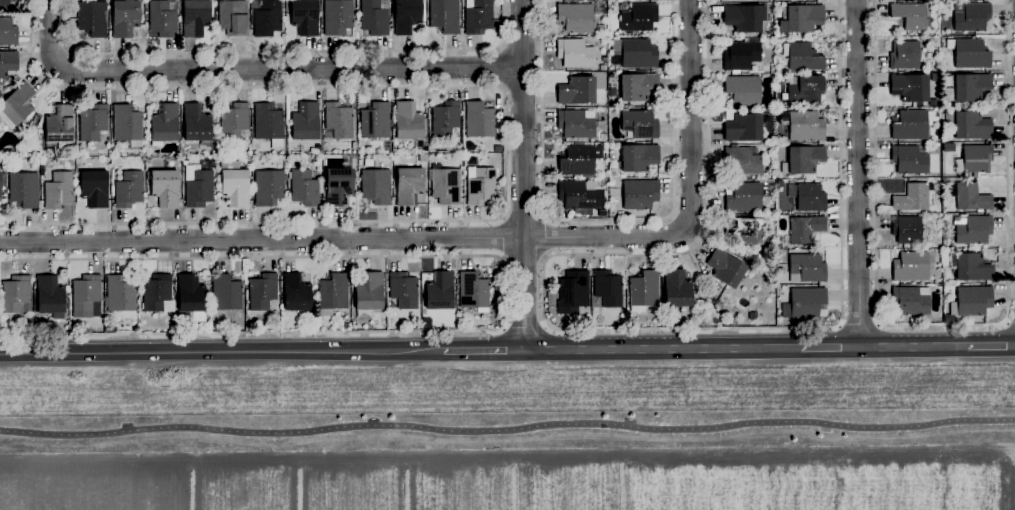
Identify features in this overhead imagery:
building: (5, 4)
building: (406, 15)
building: (444, 15)
building: (195, 16)
building: (233, 16)
building: (305, 16)
building: (337, 16)
building: (374, 16)
building: (478, 16)
building: (637, 16)
building: (912, 16)
building: (970, 16)
building: (125, 17)
building: (163, 17)
building: (576, 17)
building: (744, 17)
building: (93, 18)
building: (267, 18)
building: (801, 18)
building: (600, 28)
building: (8, 31)
building: (776, 34)
road: (502, 47)
road: (69, 51)
road: (284, 51)
building: (969, 52)
building: (575, 53)
building: (638, 53)
building: (904, 54)
building: (741, 55)
building: (802, 56)
road: (63, 58)
building: (7, 63)
road: (504, 67)
road: (257, 68)
building: (637, 86)
building: (910, 86)
road: (502, 87)
building: (967, 87)
building: (743, 89)
building: (804, 89)
building: (576, 90)
building: (16, 105)
building: (601, 113)
building: (445, 118)
building: (339, 119)
building: (479, 119)
building: (234, 120)
building: (375, 120)
building: (408, 120)
building: (305, 121)
building: (93, 122)
building: (196, 123)
building: (576, 123)
building: (600, 123)
building: (640, 123)
building: (59, 124)
building: (127, 124)
building: (164, 124)
building: (269, 124)
building: (909, 125)
building: (971, 125)
building: (805, 126)
building: (743, 127)
road: (504, 133)
building: (603, 136)
building: (73, 147)
building: (638, 157)
building: (975, 158)
building: (579, 159)
building: (803, 159)
building: (909, 159)
building: (744, 161)
road: (859, 173)
road: (523, 175)
building: (234, 182)
building: (411, 182)
building: (445, 184)
building: (480, 184)
building: (0, 185)
building: (338, 185)
building: (165, 186)
building: (268, 186)
building: (376, 186)
building: (95, 187)
building: (304, 187)
building: (199, 188)
building: (24, 189)
building: (129, 189)
building: (58, 190)
building: (640, 193)
building: (580, 195)
road: (692, 196)
building: (808, 196)
building: (970, 196)
building: (743, 197)
building: (912, 197)
road: (524, 216)
road: (608, 218)
building: (804, 229)
building: (908, 229)
building: (973, 229)
building: (745, 230)
road: (502, 236)
road: (546, 237)
road: (262, 239)
road: (525, 258)
building: (911, 266)
building: (972, 267)
building: (726, 268)
building: (806, 268)
building: (607, 287)
building: (644, 288)
building: (675, 288)
building: (403, 289)
building: (473, 290)
building: (156, 291)
building: (262, 291)
building: (371, 291)
building: (440, 291)
building: (573, 291)
building: (226, 292)
building: (296, 292)
building: (120, 293)
building: (190, 293)
building: (332, 293)
building: (16, 294)
road: (506, 294)
building: (49, 295)
building: (86, 296)
building: (911, 300)
building: (971, 300)
building: (804, 302)
building: (483, 313)
building: (180, 319)
building: (208, 321)
road: (1010, 322)
road: (859, 325)
road: (941, 325)
road: (525, 328)
road: (620, 331)
road: (914, 346)
road: (991, 346)
road: (831, 347)
road: (663, 349)
road: (485, 350)
road: (222, 352)
road: (507, 427)
park: (514, 441)

